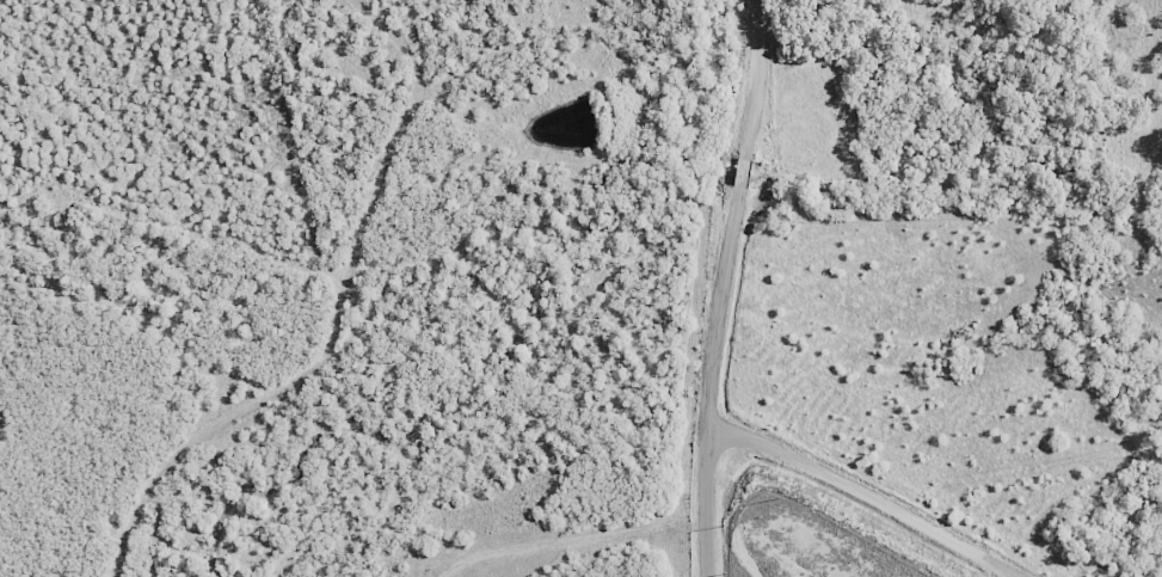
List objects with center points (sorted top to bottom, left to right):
road: (727, 287)
road: (869, 491)

